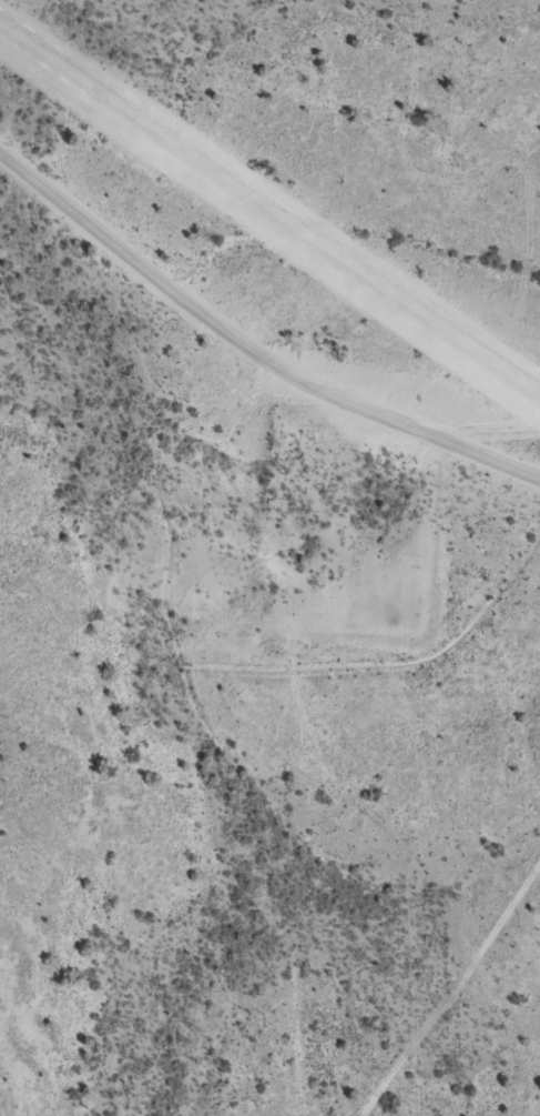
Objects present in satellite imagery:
road: (274, 155)

